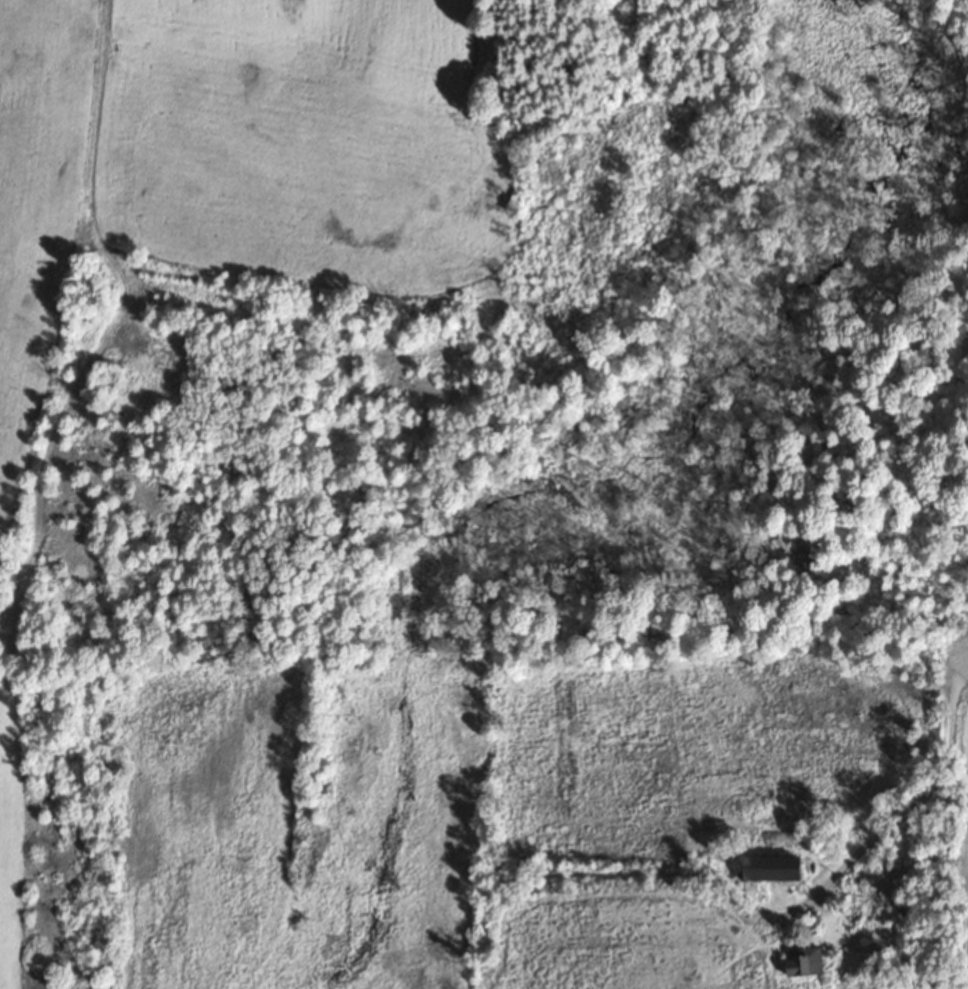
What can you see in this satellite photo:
road: (963, 665)
building: (765, 869)
building: (800, 962)

